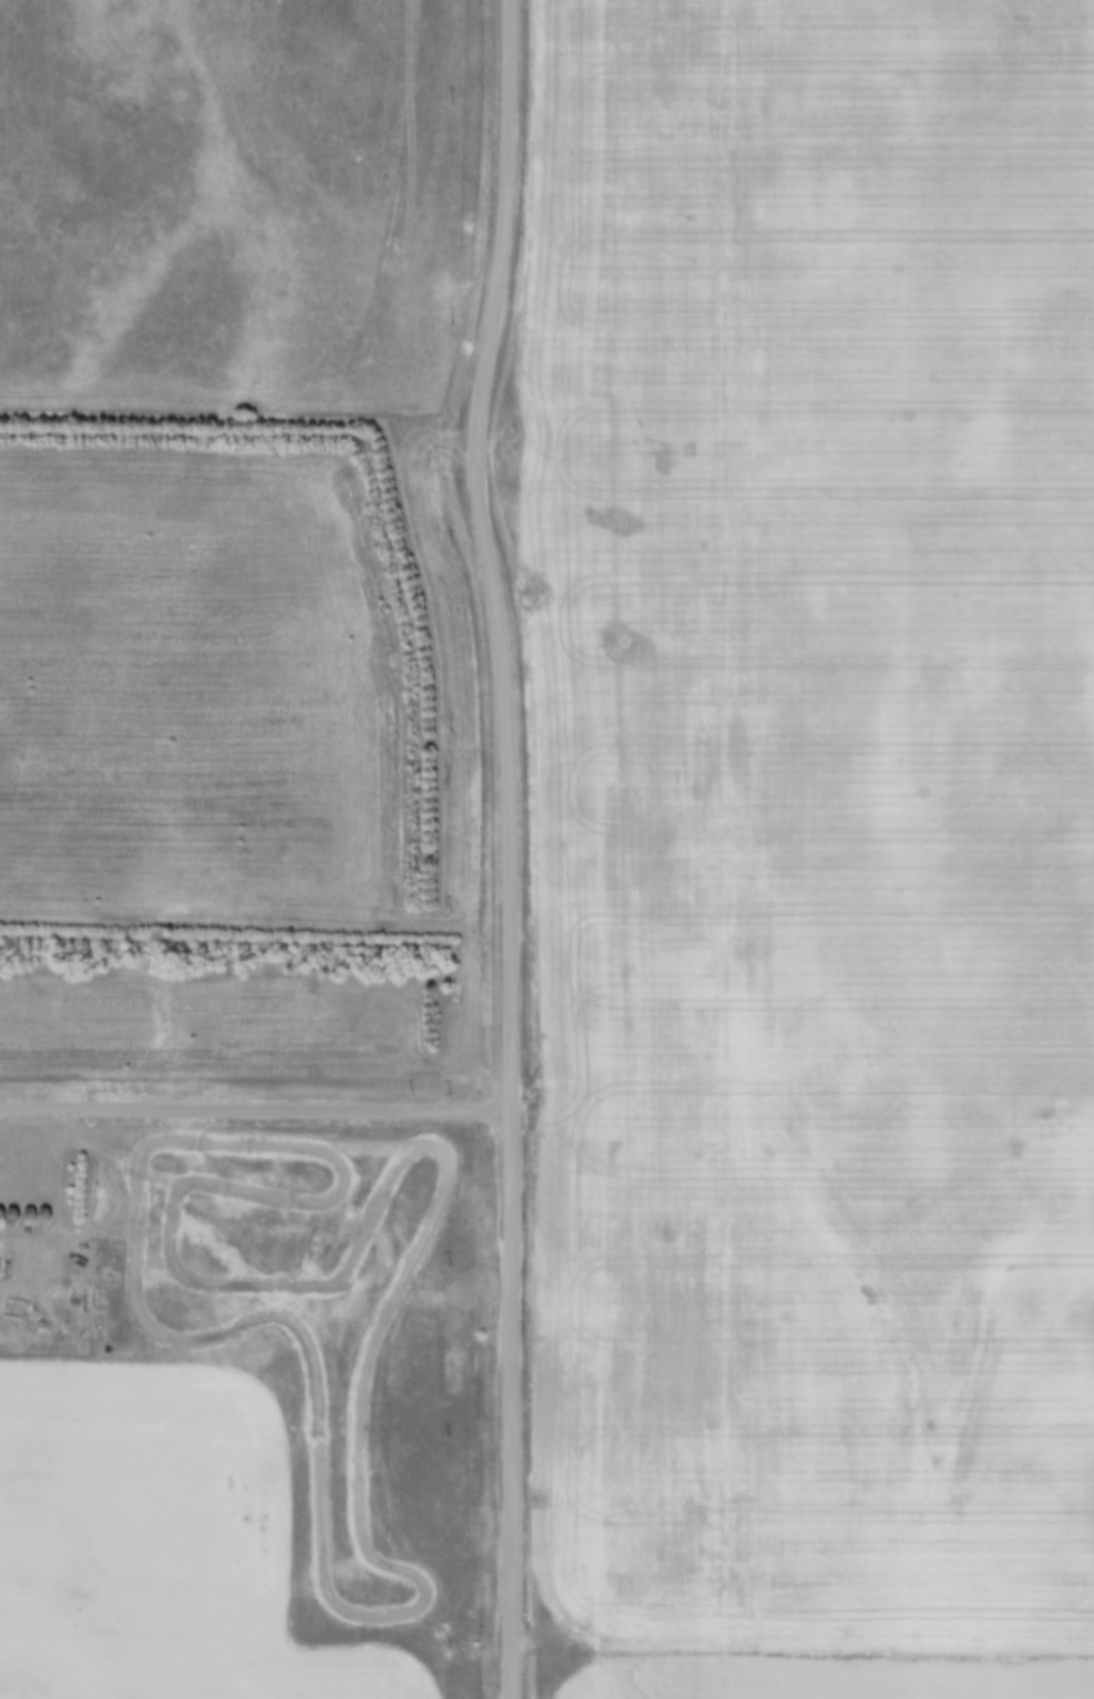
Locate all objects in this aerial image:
road: (510, 846)
road: (255, 1113)
raceway: (421, 1583)
road: (802, 1650)

